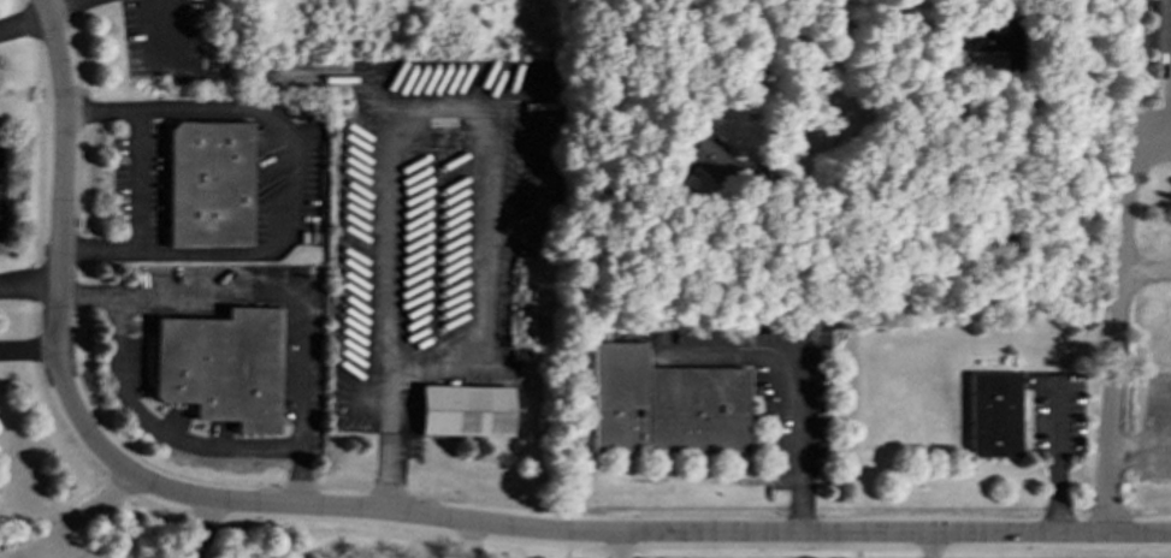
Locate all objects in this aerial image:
road: (61, 7)
road: (24, 19)
building: (1163, 26)
road: (167, 31)
road: (852, 91)
road: (522, 101)
road: (769, 156)
building: (711, 158)
road: (486, 165)
road: (136, 180)
building: (209, 184)
road: (289, 185)
road: (59, 233)
road: (1146, 266)
road: (28, 287)
road: (282, 293)
road: (1117, 304)
road: (29, 344)
building: (221, 367)
road: (799, 382)
building: (663, 404)
building: (465, 410)
building: (994, 415)
road: (150, 428)
road: (385, 443)
road: (1141, 444)
road: (1057, 463)
road: (72, 517)
road: (200, 529)
road: (633, 533)
road: (467, 539)
road: (615, 545)
road: (934, 546)

